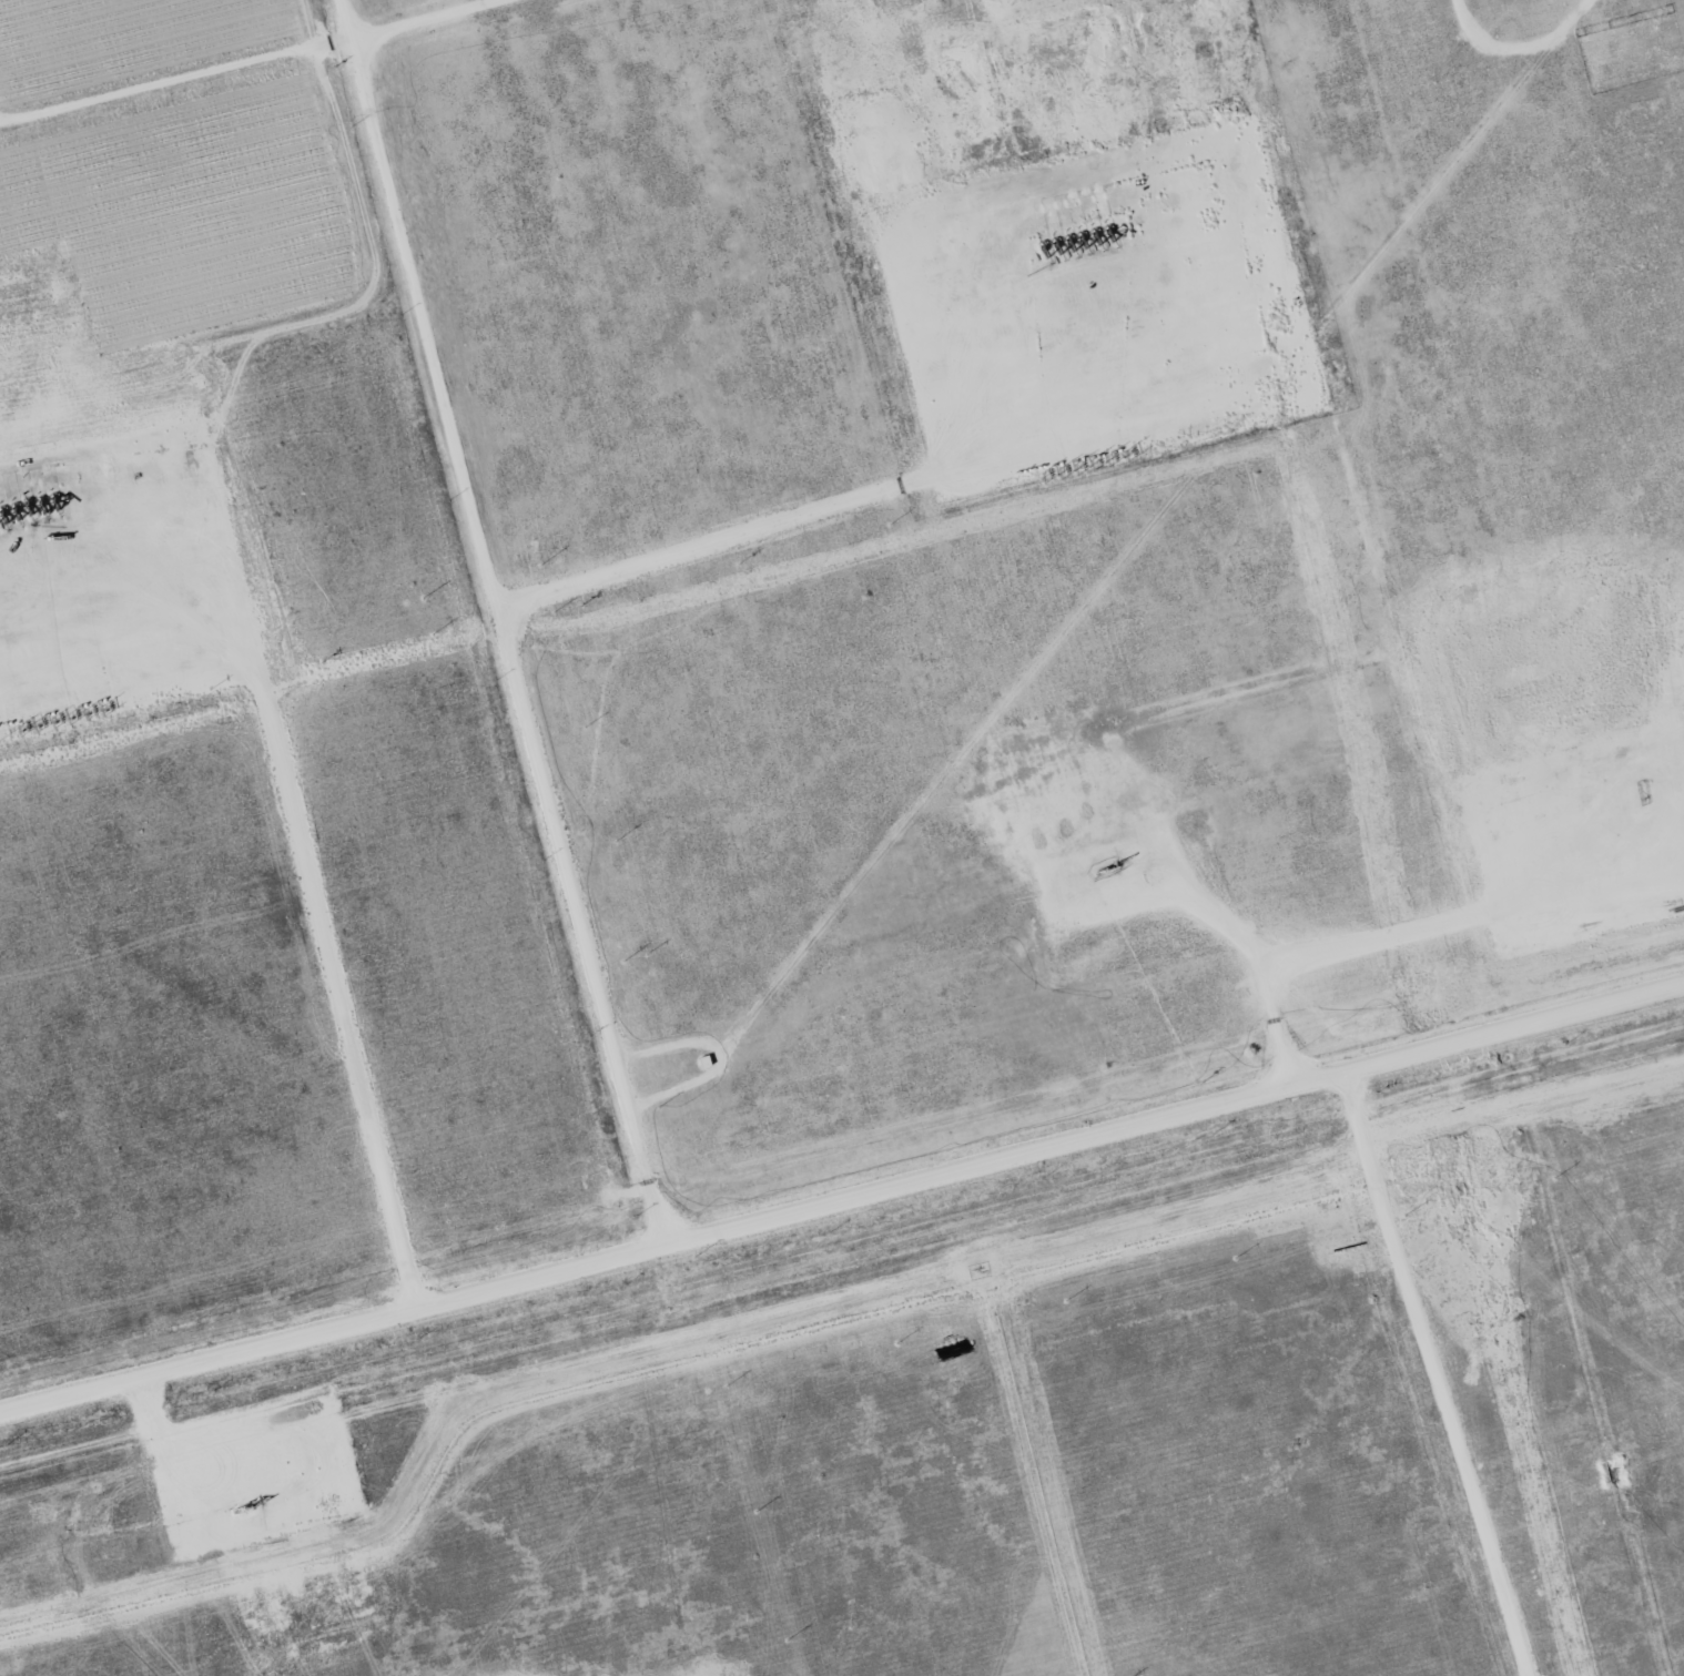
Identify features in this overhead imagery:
road: (1497, 1033)
road: (655, 1242)

